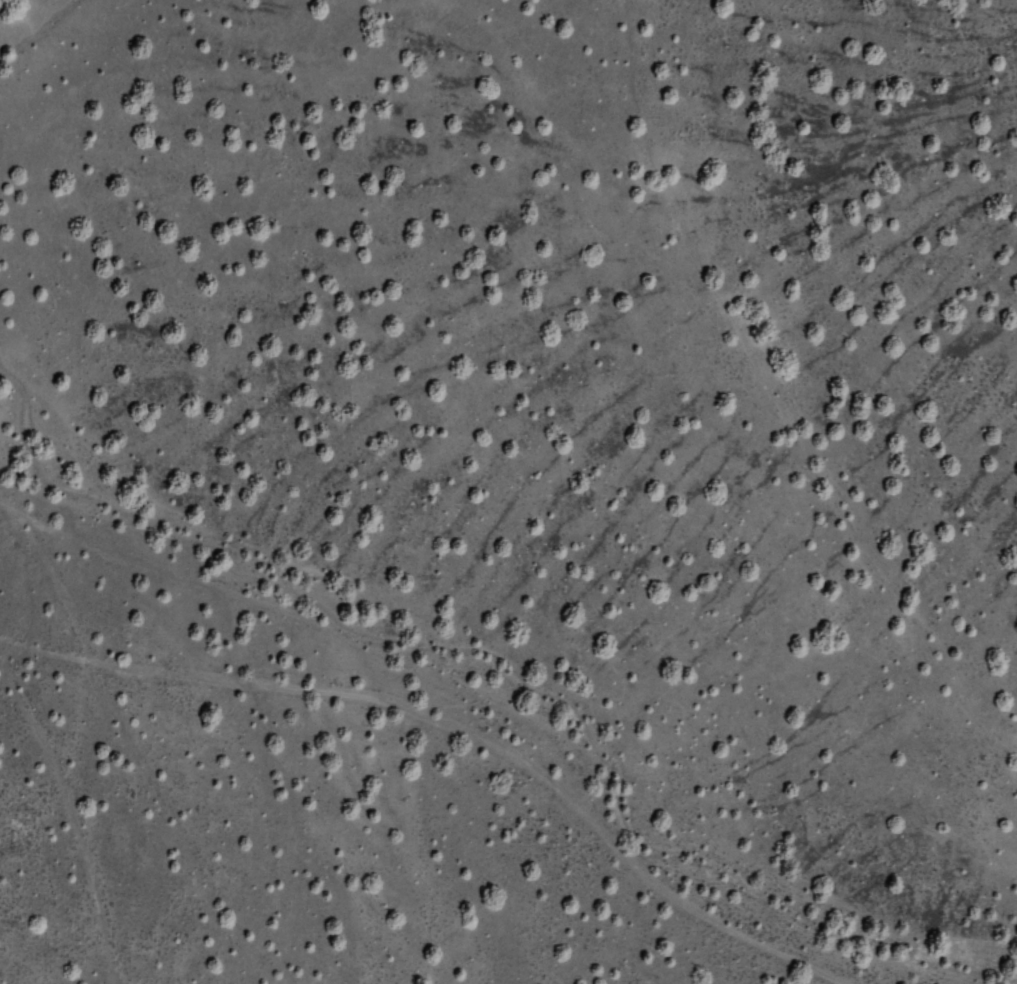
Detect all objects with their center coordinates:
road: (460, 726)
road: (75, 816)

